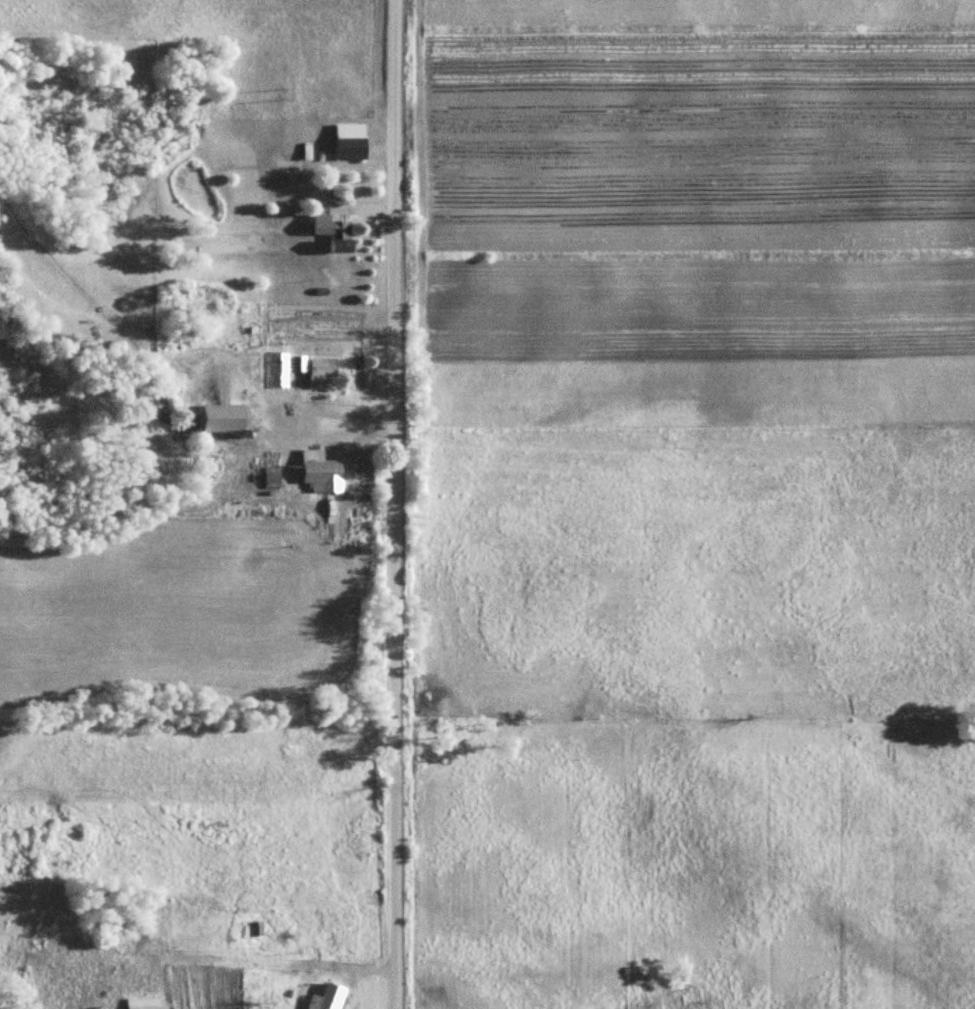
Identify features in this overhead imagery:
building: (351, 142)
building: (334, 232)
building: (321, 370)
building: (227, 419)
building: (321, 469)
road: (391, 504)
building: (257, 928)
building: (331, 997)
building: (145, 1003)

